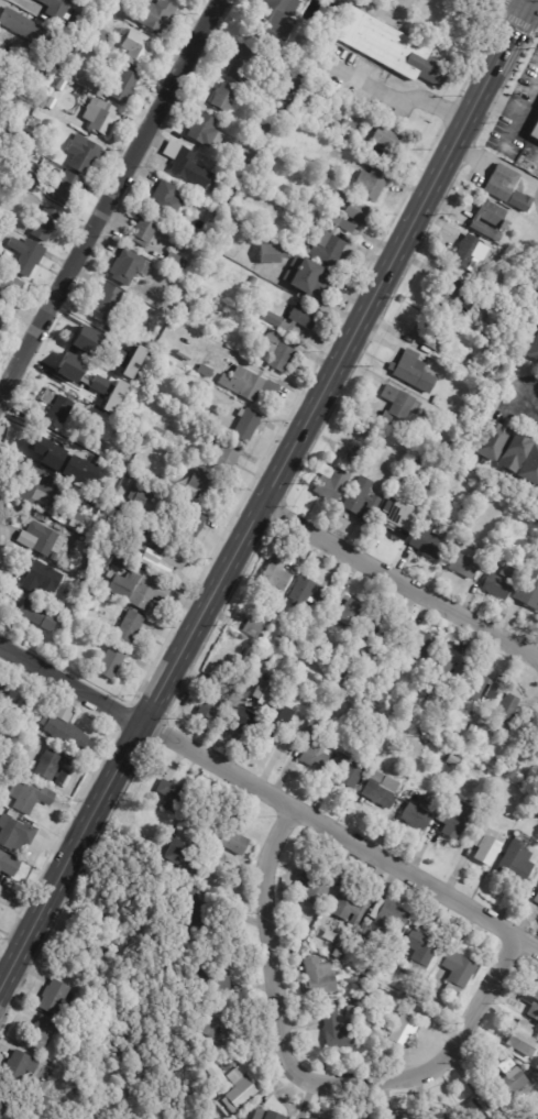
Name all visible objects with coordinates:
building: (174, 0)
road: (530, 3)
traffic signals: (530, 3)
building: (341, 4)
road: (395, 4)
building: (54, 8)
building: (95, 13)
building: (151, 15)
building: (271, 18)
building: (25, 31)
building: (92, 35)
building: (529, 40)
building: (389, 47)
building: (135, 48)
building: (75, 51)
building: (4, 57)
building: (50, 65)
building: (241, 66)
building: (42, 76)
building: (293, 83)
building: (120, 87)
road: (398, 92)
building: (221, 97)
building: (329, 106)
road: (512, 108)
building: (97, 118)
building: (348, 127)
building: (6, 129)
building: (200, 129)
building: (534, 131)
building: (261, 132)
building: (13, 133)
building: (23, 138)
building: (382, 141)
building: (32, 143)
building: (81, 154)
building: (248, 154)
building: (0, 161)
building: (188, 167)
building: (20, 171)
building: (342, 183)
building: (369, 184)
building: (499, 184)
building: (63, 186)
building: (237, 186)
road: (110, 198)
building: (163, 200)
building: (517, 201)
building: (351, 209)
building: (487, 221)
building: (338, 223)
building: (44, 226)
building: (141, 231)
building: (210, 239)
building: (299, 245)
building: (325, 249)
building: (270, 254)
building: (468, 254)
building: (24, 256)
building: (172, 262)
building: (125, 271)
building: (251, 281)
building: (306, 281)
building: (8, 285)
building: (175, 288)
building: (448, 294)
building: (107, 301)
building: (152, 312)
building: (293, 319)
building: (0, 320)
building: (0, 323)
building: (431, 334)
building: (85, 337)
building: (534, 351)
building: (275, 353)
building: (114, 355)
building: (133, 362)
building: (469, 365)
building: (69, 366)
building: (202, 371)
building: (409, 372)
building: (98, 384)
building: (244, 384)
building: (122, 395)
building: (113, 396)
building: (433, 401)
building: (396, 403)
building: (56, 409)
building: (207, 413)
road: (527, 413)
building: (212, 423)
building: (243, 426)
building: (156, 434)
building: (359, 434)
building: (433, 442)
building: (490, 442)
building: (449, 447)
building: (41, 448)
building: (514, 453)
building: (354, 454)
building: (221, 458)
building: (529, 468)
building: (109, 481)
building: (329, 485)
building: (189, 486)
building: (36, 489)
road: (267, 494)
building: (134, 498)
building: (356, 502)
building: (450, 502)
building: (88, 504)
building: (98, 514)
building: (396, 518)
building: (534, 519)
building: (74, 522)
building: (188, 529)
building: (437, 531)
building: (35, 539)
building: (425, 546)
building: (460, 560)
building: (165, 561)
building: (536, 561)
building: (113, 567)
building: (42, 573)
building: (274, 575)
building: (498, 583)
road: (399, 584)
building: (101, 585)
building: (528, 589)
building: (135, 590)
building: (305, 593)
building: (344, 608)
building: (28, 615)
building: (253, 626)
building: (375, 628)
building: (127, 629)
building: (418, 643)
building: (352, 649)
building: (287, 651)
building: (246, 656)
building: (265, 658)
building: (109, 661)
building: (443, 668)
building: (339, 674)
building: (296, 677)
road: (74, 680)
building: (349, 680)
building: (3, 685)
building: (476, 687)
building: (361, 690)
building: (377, 696)
building: (212, 699)
building: (261, 706)
building: (509, 715)
building: (43, 718)
building: (0, 722)
building: (277, 724)
building: (534, 724)
building: (1, 731)
building: (68, 733)
building: (536, 740)
building: (537, 745)
building: (311, 747)
building: (431, 754)
building: (494, 764)
building: (50, 765)
building: (348, 768)
building: (513, 769)
building: (65, 777)
building: (380, 790)
building: (168, 796)
building: (35, 799)
building: (427, 801)
building: (535, 812)
building: (160, 814)
building: (415, 815)
building: (452, 819)
building: (17, 834)
road: (341, 834)
building: (233, 837)
building: (482, 847)
building: (169, 852)
building: (513, 863)
building: (10, 864)
building: (186, 873)
building: (310, 889)
building: (536, 899)
building: (345, 906)
building: (195, 913)
building: (382, 919)
road: (270, 939)
building: (356, 940)
building: (296, 948)
building: (417, 951)
building: (399, 954)
building: (336, 955)
building: (455, 972)
building: (318, 976)
building: (211, 983)
building: (52, 996)
building: (531, 1002)
building: (350, 1010)
building: (397, 1027)
building: (221, 1031)
building: (333, 1032)
building: (40, 1033)
building: (521, 1039)
road: (439, 1063)
building: (17, 1067)
building: (216, 1072)
building: (509, 1079)
building: (235, 1089)
building: (3, 1101)
building: (40, 1101)
building: (477, 1107)
park: (20, 1108)
building: (255, 1113)
building: (270, 1116)
building: (437, 1116)
building: (240, 1118)
building: (308, 1118)
building: (409, 1118)

